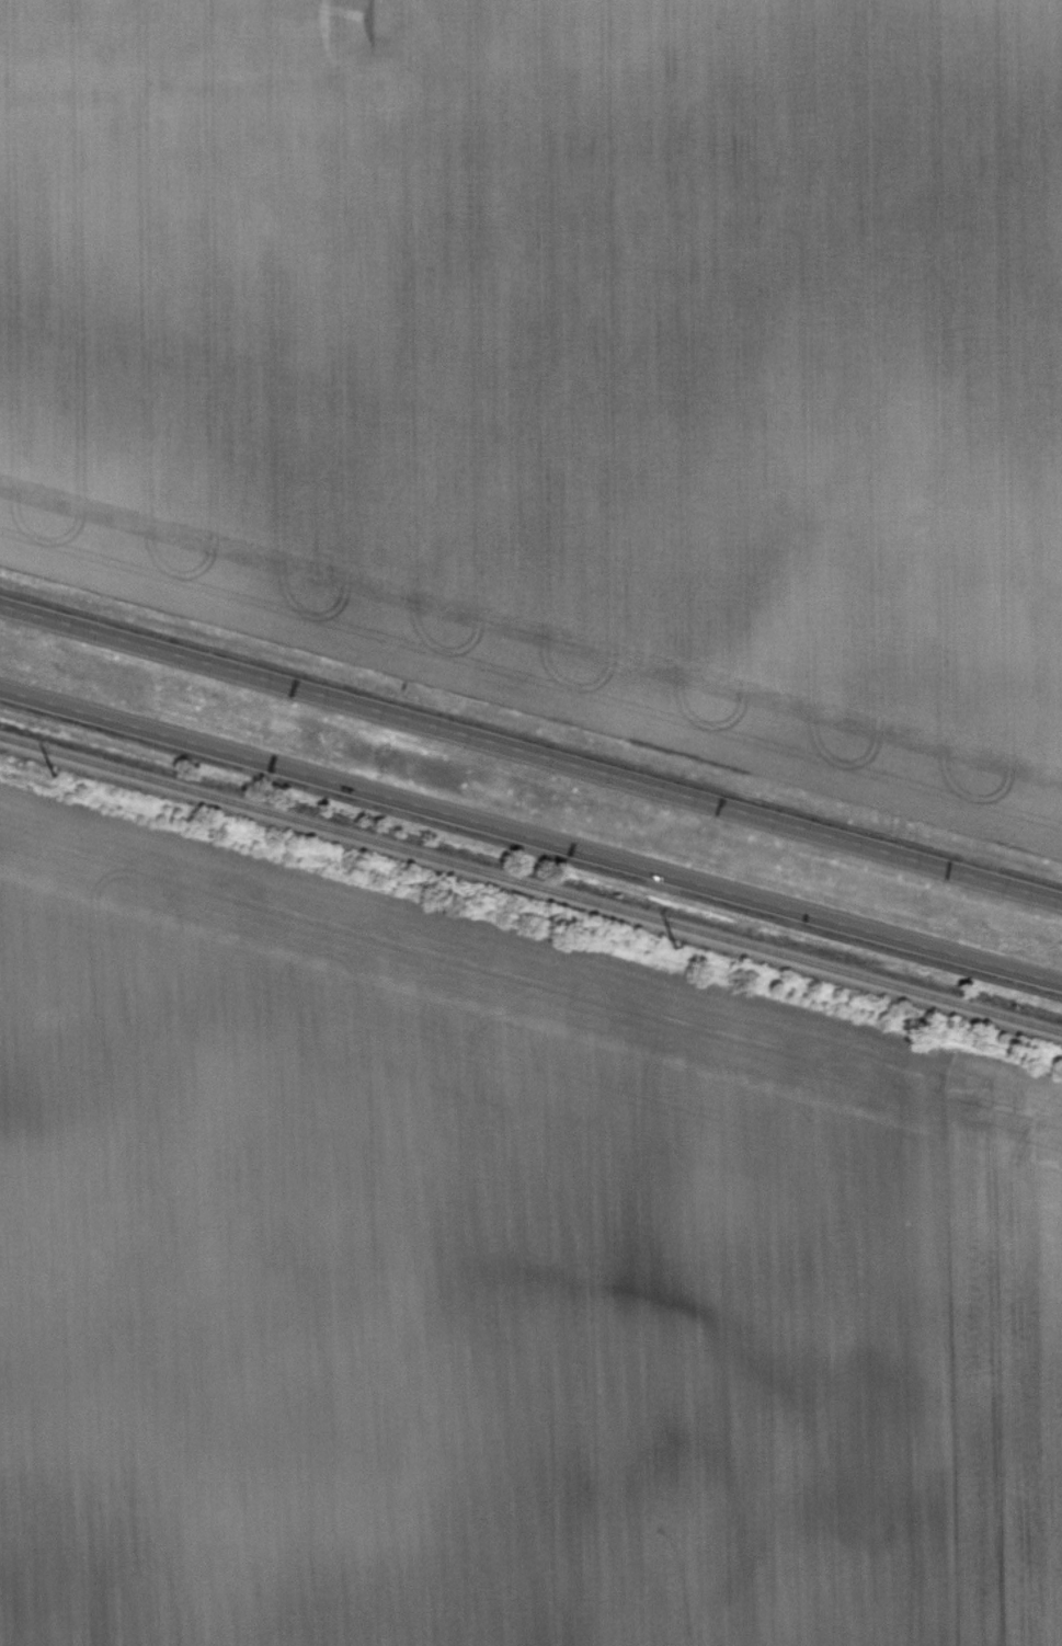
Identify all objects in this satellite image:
road: (530, 753)
power tower: (53, 776)
road: (530, 830)
railway: (530, 902)
power tower: (675, 948)

